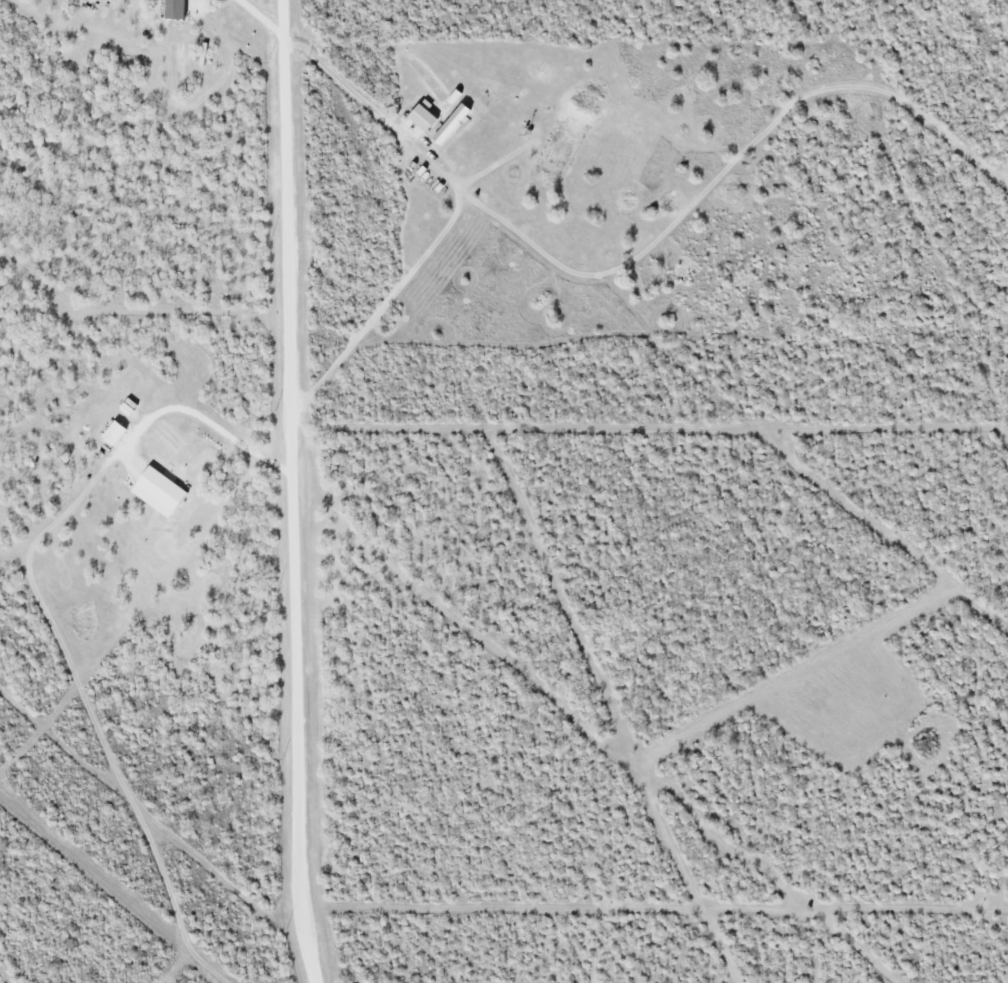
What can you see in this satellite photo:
building: (419, 122)

